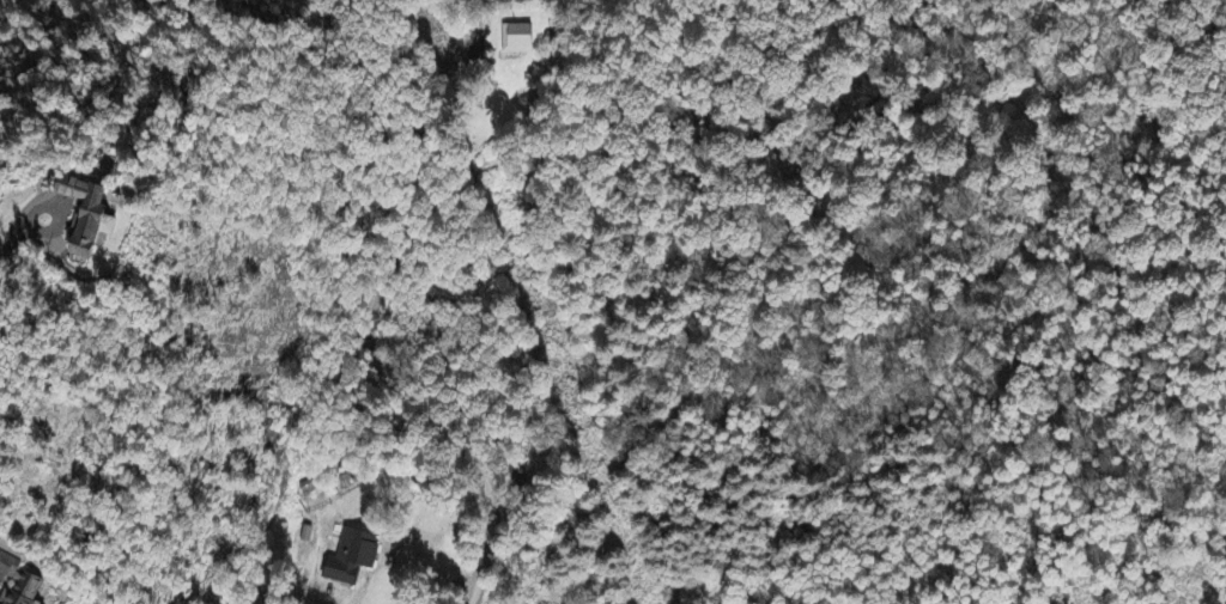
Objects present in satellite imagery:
building: (532, 1)
building: (518, 41)
building: (89, 218)
road: (370, 318)
building: (353, 560)
building: (19, 584)

